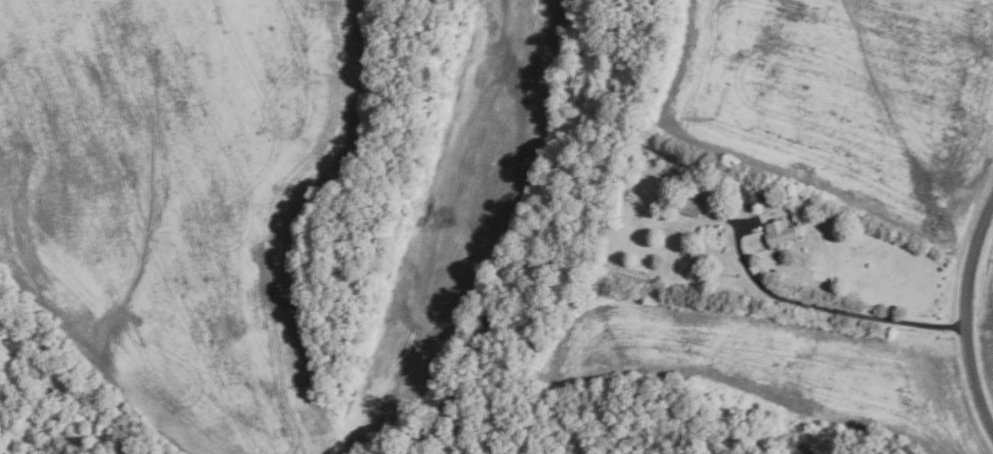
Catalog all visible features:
building: (688, 206)
building: (775, 234)
road: (825, 309)
road: (965, 315)

